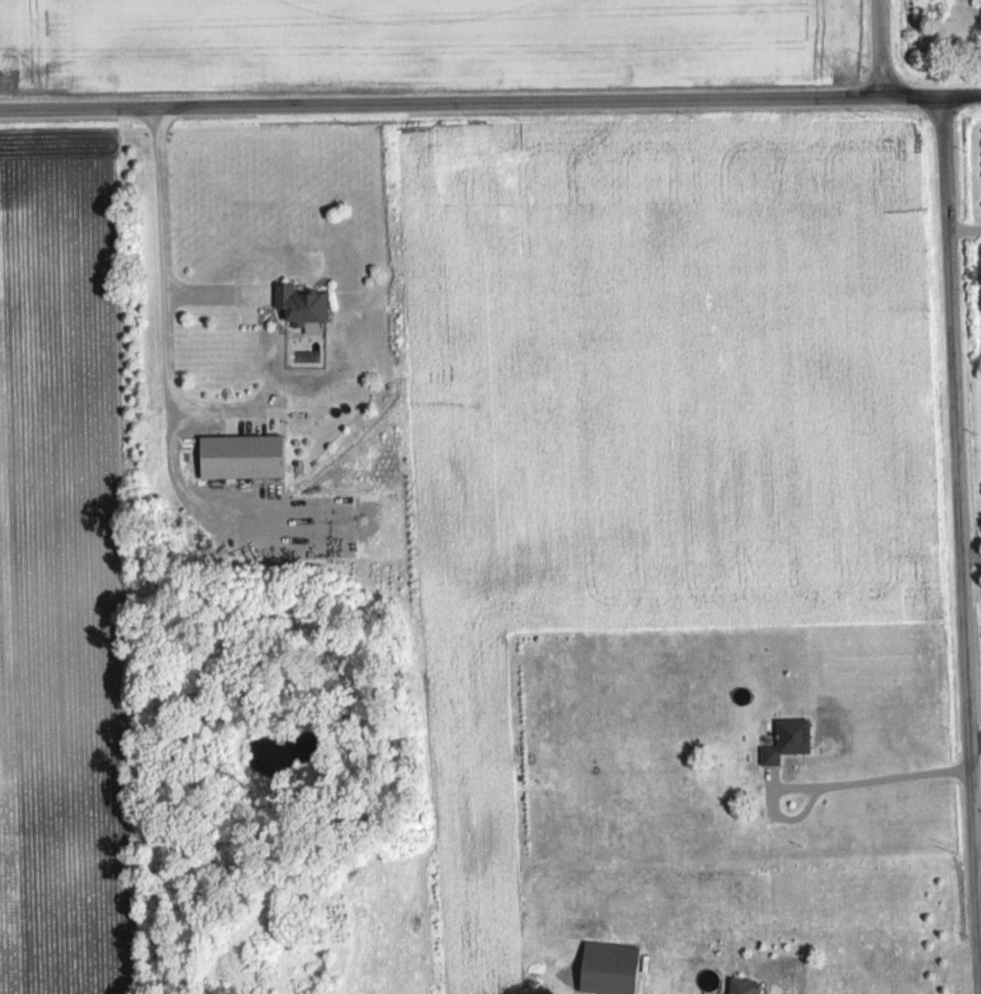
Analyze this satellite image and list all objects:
road: (883, 48)
road: (490, 102)
road: (964, 225)
road: (212, 289)
building: (295, 305)
road: (162, 370)
road: (217, 412)
building: (232, 457)
road: (961, 514)
road: (972, 552)
road: (976, 736)
building: (779, 742)
road: (832, 779)
building: (601, 967)
building: (735, 986)

